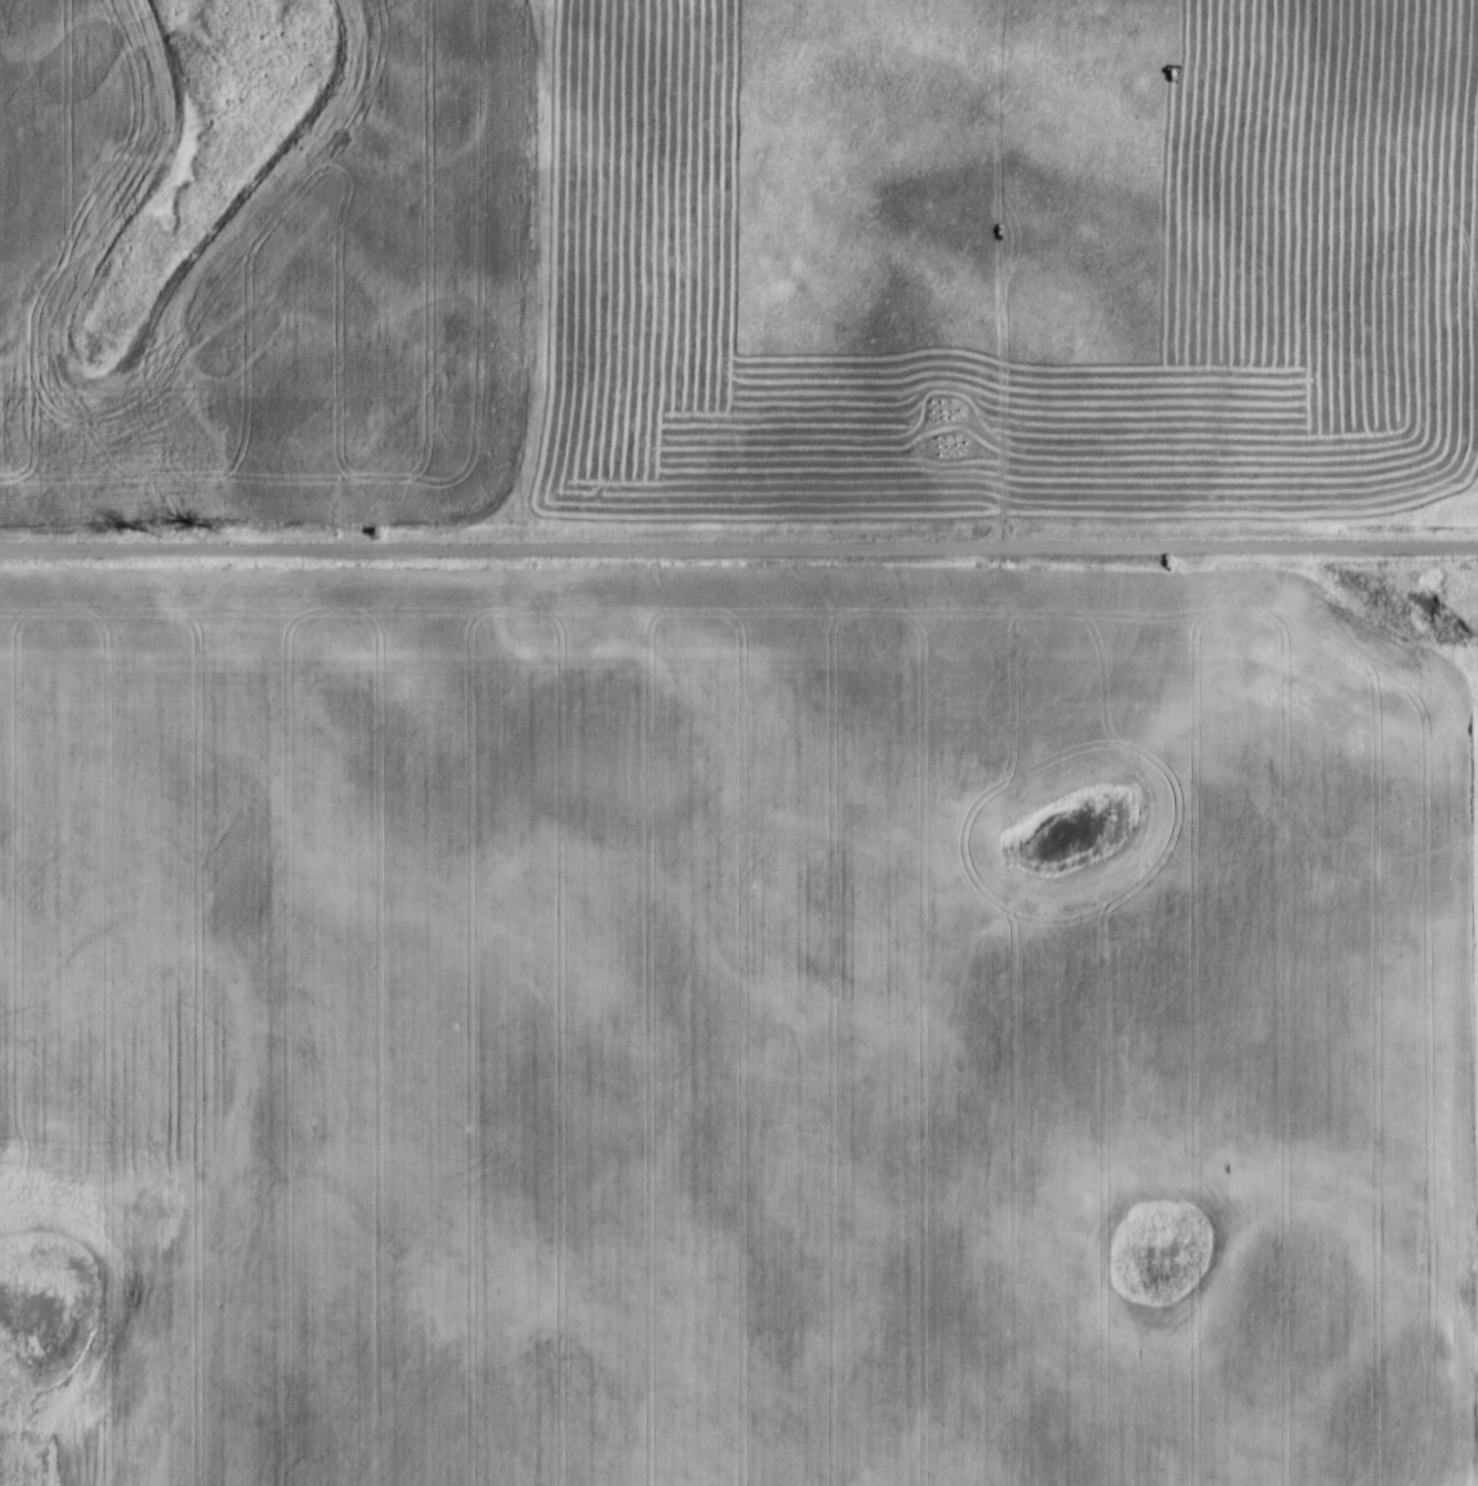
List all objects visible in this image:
road: (1003, 273)
road: (739, 547)

